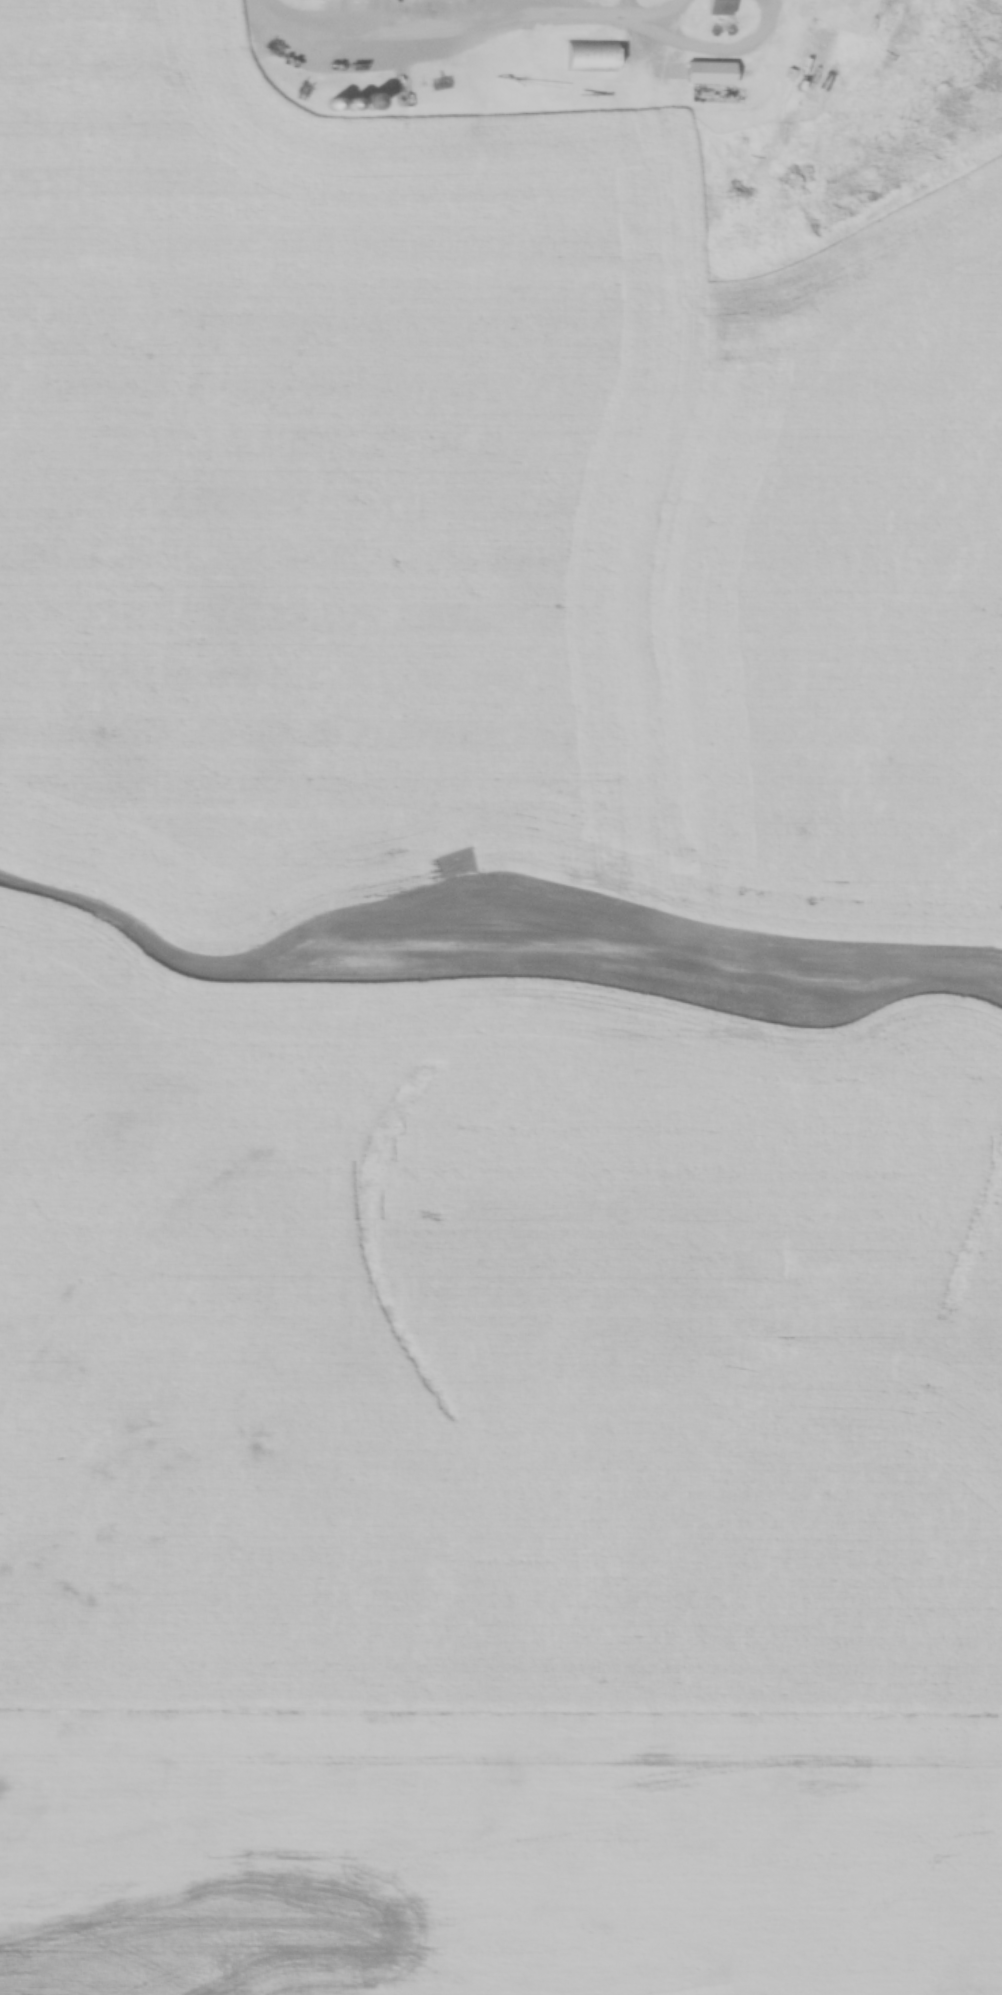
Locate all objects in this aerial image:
building: (718, 7)
building: (709, 73)

